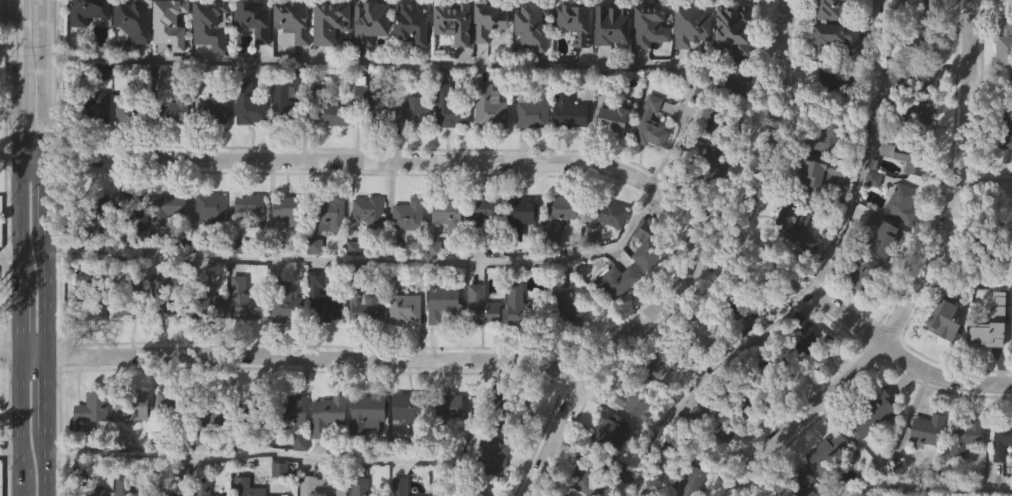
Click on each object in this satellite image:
building: (828, 8)
building: (86, 11)
building: (253, 19)
building: (291, 19)
building: (487, 19)
building: (920, 19)
building: (328, 20)
building: (131, 21)
building: (369, 21)
building: (451, 21)
building: (166, 22)
building: (573, 22)
building: (210, 23)
building: (410, 23)
building: (531, 24)
building: (610, 24)
building: (690, 24)
building: (649, 25)
building: (732, 27)
building: (1005, 39)
building: (836, 40)
building: (923, 40)
building: (88, 46)
building: (897, 47)
road: (12, 52)
road: (429, 59)
building: (252, 62)
building: (291, 62)
building: (329, 63)
building: (487, 63)
building: (132, 64)
building: (369, 64)
building: (452, 64)
building: (168, 65)
building: (411, 65)
building: (573, 65)
building: (209, 66)
building: (530, 67)
building: (610, 67)
building: (690, 67)
building: (648, 68)
building: (916, 77)
building: (729, 83)
building: (832, 84)
road: (991, 84)
building: (1003, 84)
building: (376, 98)
building: (252, 104)
building: (94, 105)
building: (288, 106)
building: (492, 107)
building: (215, 108)
building: (453, 108)
building: (570, 109)
building: (131, 110)
building: (172, 110)
building: (334, 112)
building: (535, 112)
building: (413, 113)
building: (910, 117)
building: (613, 119)
building: (726, 122)
building: (654, 123)
building: (1006, 128)
building: (832, 132)
building: (370, 141)
building: (282, 145)
building: (248, 147)
building: (95, 150)
building: (447, 150)
building: (487, 150)
road: (867, 150)
building: (212, 152)
building: (172, 153)
building: (411, 153)
building: (567, 153)
building: (125, 155)
building: (531, 155)
building: (329, 156)
building: (912, 156)
road: (12, 157)
road: (35, 157)
building: (611, 161)
road: (560, 163)
building: (649, 166)
building: (712, 166)
building: (812, 174)
building: (823, 180)
building: (1003, 180)
road: (984, 187)
building: (902, 203)
building: (709, 205)
building: (169, 208)
building: (213, 209)
building: (254, 209)
building: (293, 209)
building: (134, 210)
building: (372, 210)
building: (451, 212)
building: (480, 212)
building: (332, 213)
building: (612, 213)
building: (94, 214)
building: (411, 214)
building: (523, 215)
building: (564, 215)
building: (818, 216)
building: (795, 230)
building: (882, 230)
building: (986, 235)
building: (655, 241)
building: (101, 243)
building: (901, 245)
road: (26, 248)
road: (46, 248)
building: (209, 250)
building: (249, 250)
building: (165, 251)
building: (287, 252)
building: (367, 253)
building: (481, 253)
building: (130, 254)
road: (13, 255)
building: (330, 256)
road: (366, 257)
building: (407, 257)
building: (445, 257)
building: (605, 257)
building: (519, 259)
building: (557, 259)
road: (702, 268)
road: (972, 268)
building: (793, 270)
building: (869, 273)
building: (622, 279)
road: (922, 279)
building: (648, 287)
building: (134, 293)
building: (325, 298)
building: (208, 299)
building: (746, 299)
building: (168, 300)
building: (247, 300)
building: (365, 300)
building: (445, 300)
building: (91, 301)
building: (286, 301)
building: (404, 301)
building: (486, 306)
building: (521, 306)
building: (569, 306)
building: (946, 315)
building: (858, 317)
building: (615, 324)
building: (986, 326)
building: (1009, 326)
building: (78, 328)
building: (711, 332)
building: (814, 337)
building: (321, 341)
building: (163, 342)
building: (243, 343)
building: (284, 345)
building: (362, 346)
building: (441, 346)
road: (321, 347)
building: (564, 347)
building: (517, 348)
building: (208, 349)
building: (480, 349)
building: (733, 350)
building: (403, 351)
road: (15, 353)
building: (127, 353)
road: (38, 355)
building: (93, 355)
building: (945, 358)
building: (674, 359)
building: (989, 366)
building: (783, 368)
building: (1010, 369)
building: (703, 373)
building: (805, 376)
road: (708, 380)
building: (644, 395)
building: (176, 402)
building: (410, 404)
building: (134, 405)
building: (740, 405)
building: (95, 406)
building: (217, 409)
building: (254, 409)
building: (292, 410)
building: (512, 410)
building: (878, 411)
building: (442, 413)
building: (329, 414)
building: (368, 415)
building: (714, 432)
building: (613, 433)
building: (911, 437)
building: (962, 437)
building: (999, 439)
building: (633, 443)
building: (167, 444)
building: (404, 447)
building: (446, 449)
building: (91, 450)
building: (131, 450)
road: (14, 451)
building: (293, 452)
building: (874, 453)
road: (310, 454)
building: (496, 455)
building: (826, 455)
building: (366, 456)
building: (695, 456)
building: (209, 457)
building: (326, 457)
building: (283, 467)
building: (925, 471)
building: (590, 476)
building: (962, 477)
building: (1000, 477)
building: (205, 481)
building: (693, 481)
building: (801, 482)
building: (251, 485)
building: (298, 485)
building: (125, 486)
building: (324, 486)
building: (362, 486)
building: (399, 486)
building: (493, 487)
building: (828, 487)
building: (471, 490)
building: (98, 491)
building: (571, 493)
building: (662, 493)
building: (174, 494)
building: (670, 495)

